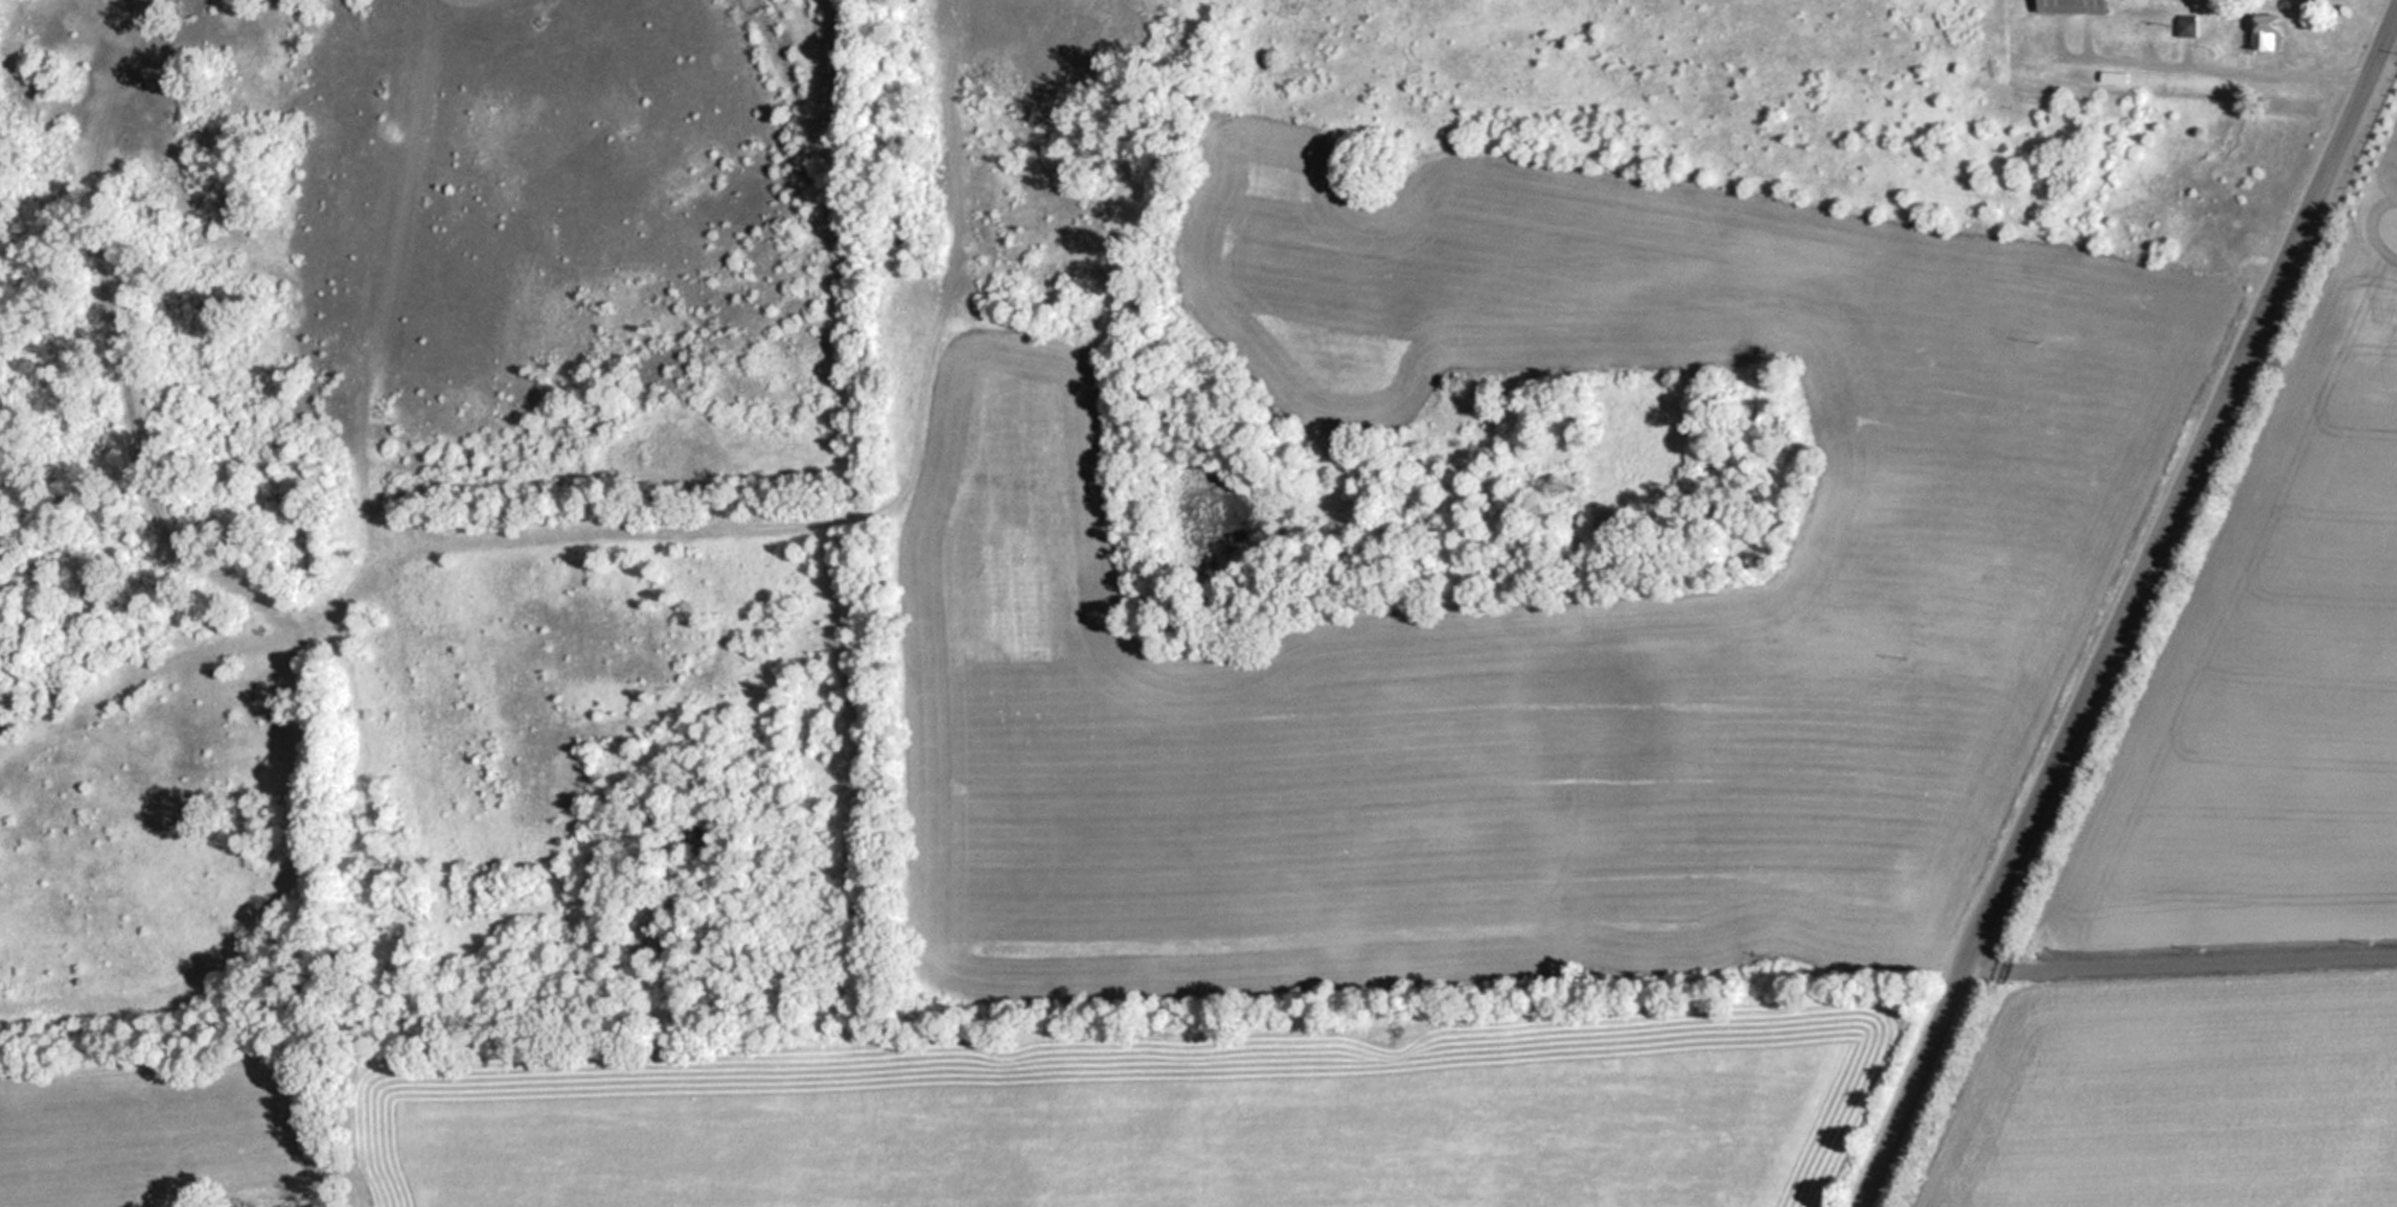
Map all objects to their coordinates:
building: (2065, 7)
building: (2182, 25)
building: (2256, 32)
road: (2119, 602)

